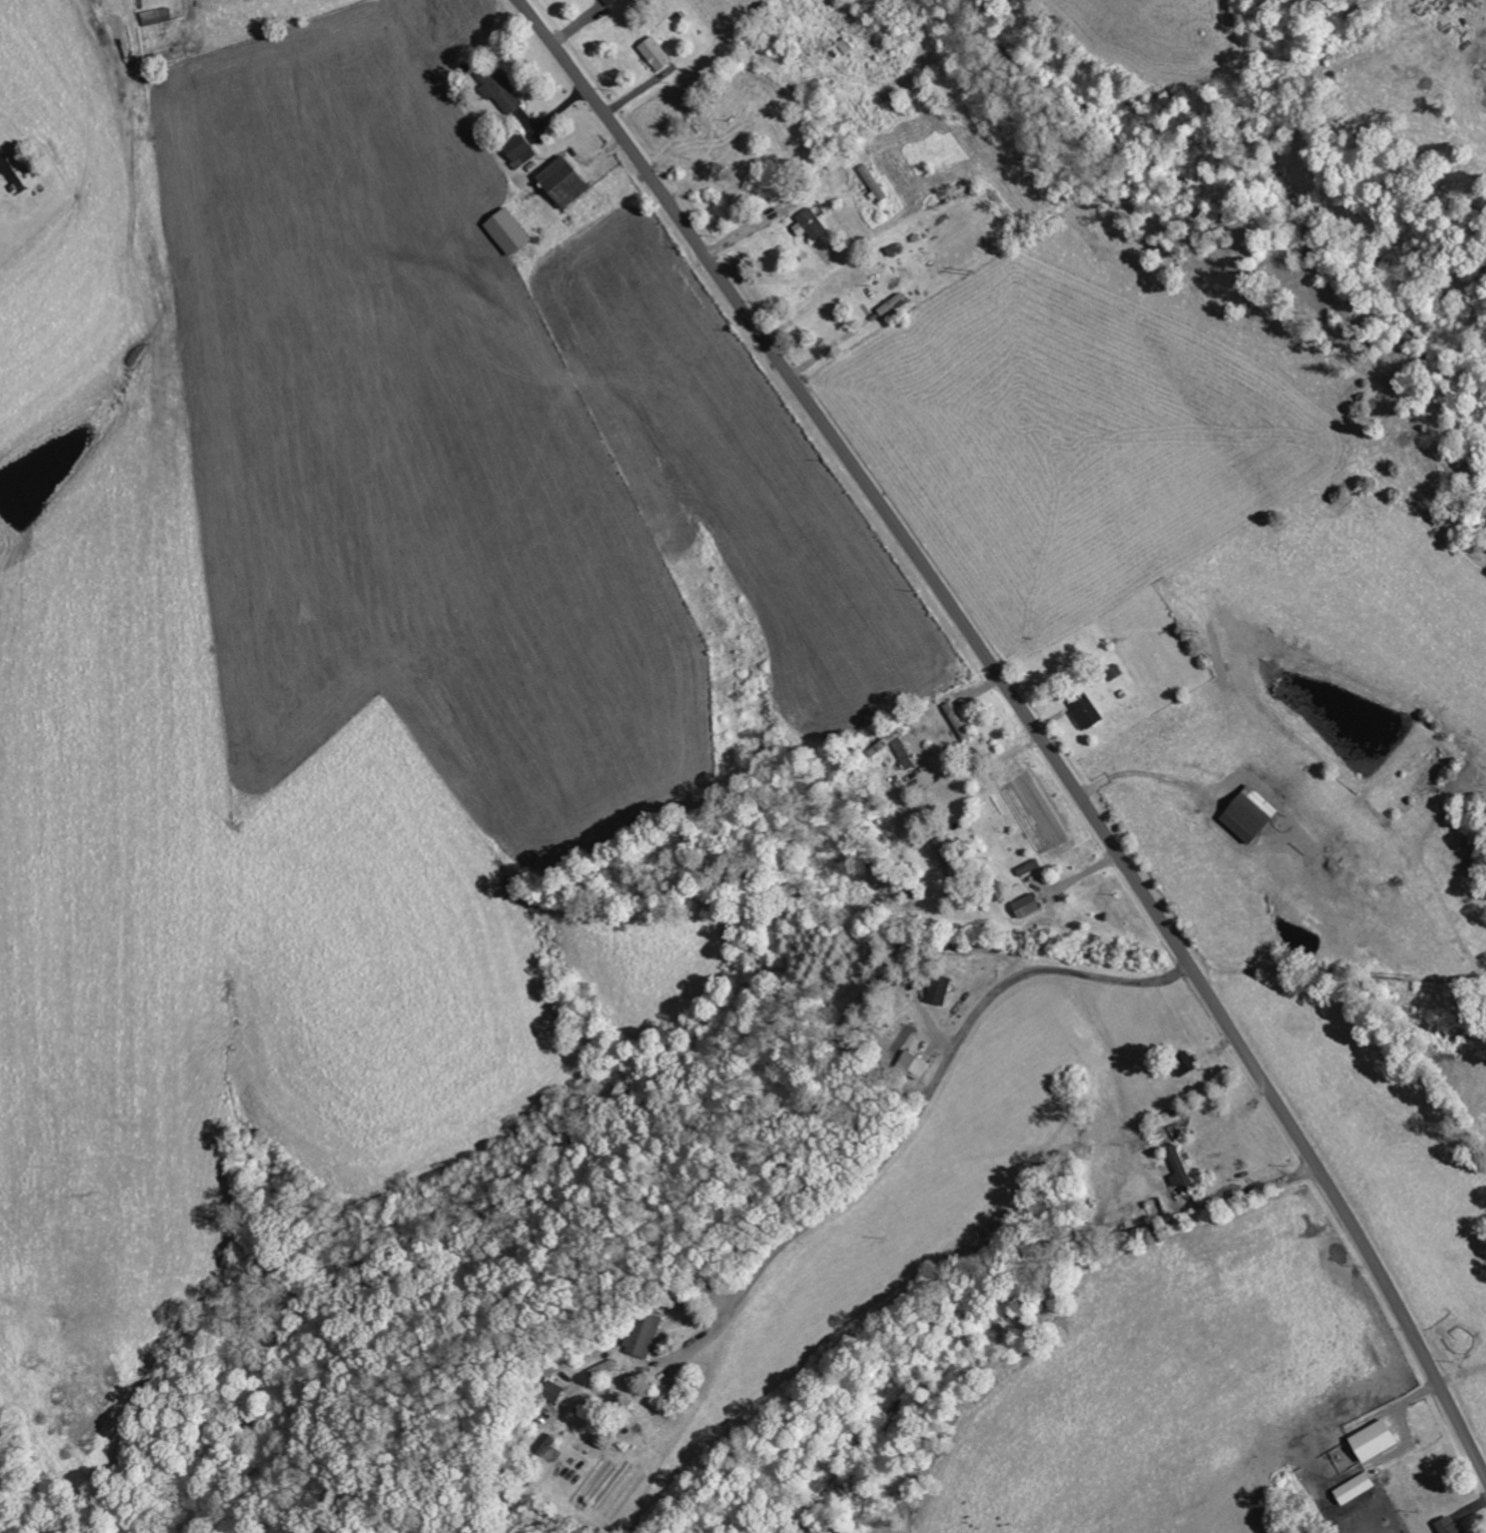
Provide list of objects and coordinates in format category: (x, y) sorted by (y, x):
building: (608, 2)
road: (628, 15)
building: (656, 52)
building: (505, 91)
building: (521, 150)
building: (565, 180)
building: (872, 181)
building: (811, 225)
building: (508, 231)
building: (892, 304)
building: (1085, 711)
road: (1028, 721)
road: (922, 778)
building: (1252, 814)
building: (1028, 905)
road: (933, 1090)
building: (1181, 1168)
building: (644, 1333)
building: (1376, 1439)
building: (1356, 1487)
building: (1452, 1525)

